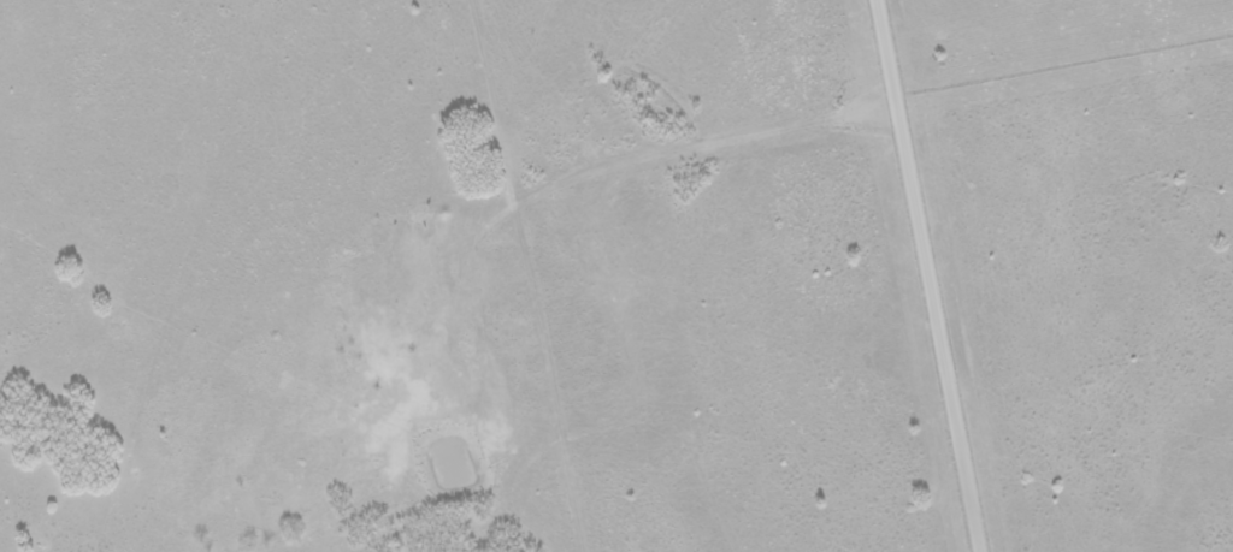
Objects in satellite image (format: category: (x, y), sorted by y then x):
road: (933, 275)

